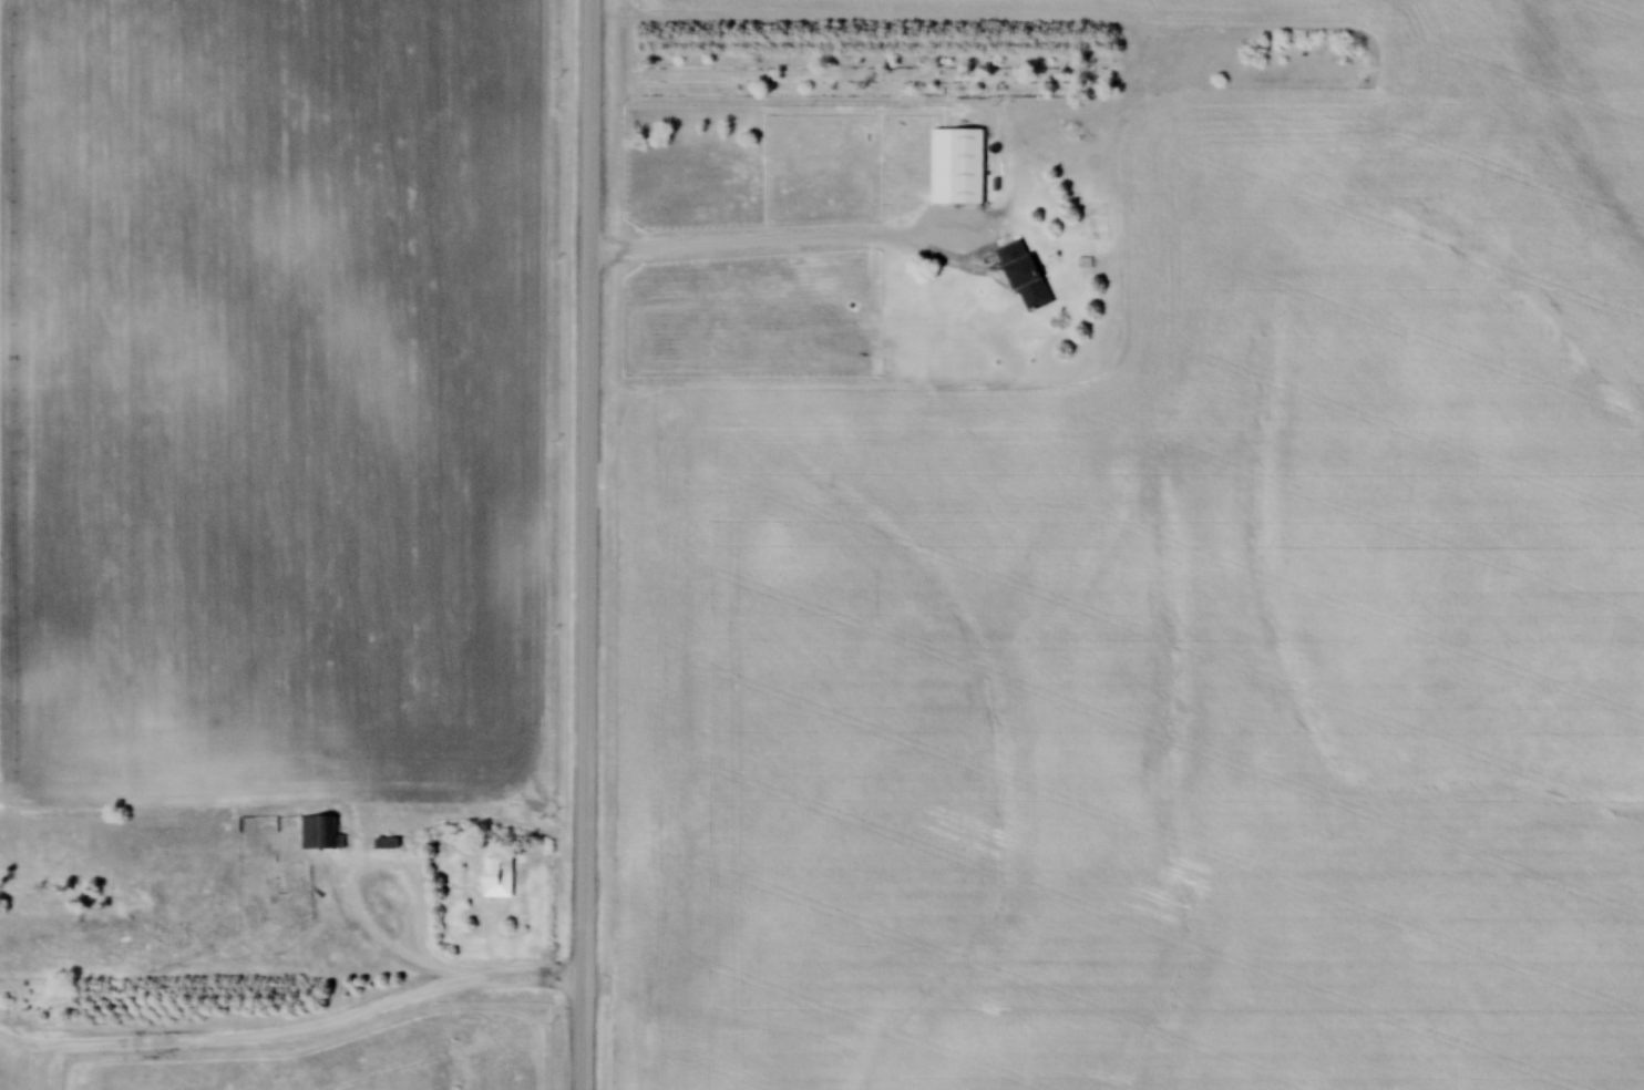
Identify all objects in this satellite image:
building: (968, 167)
road: (778, 243)
building: (1025, 276)
road: (583, 544)
building: (319, 832)
road: (391, 871)
building: (499, 878)
road: (501, 983)
road: (242, 1045)

